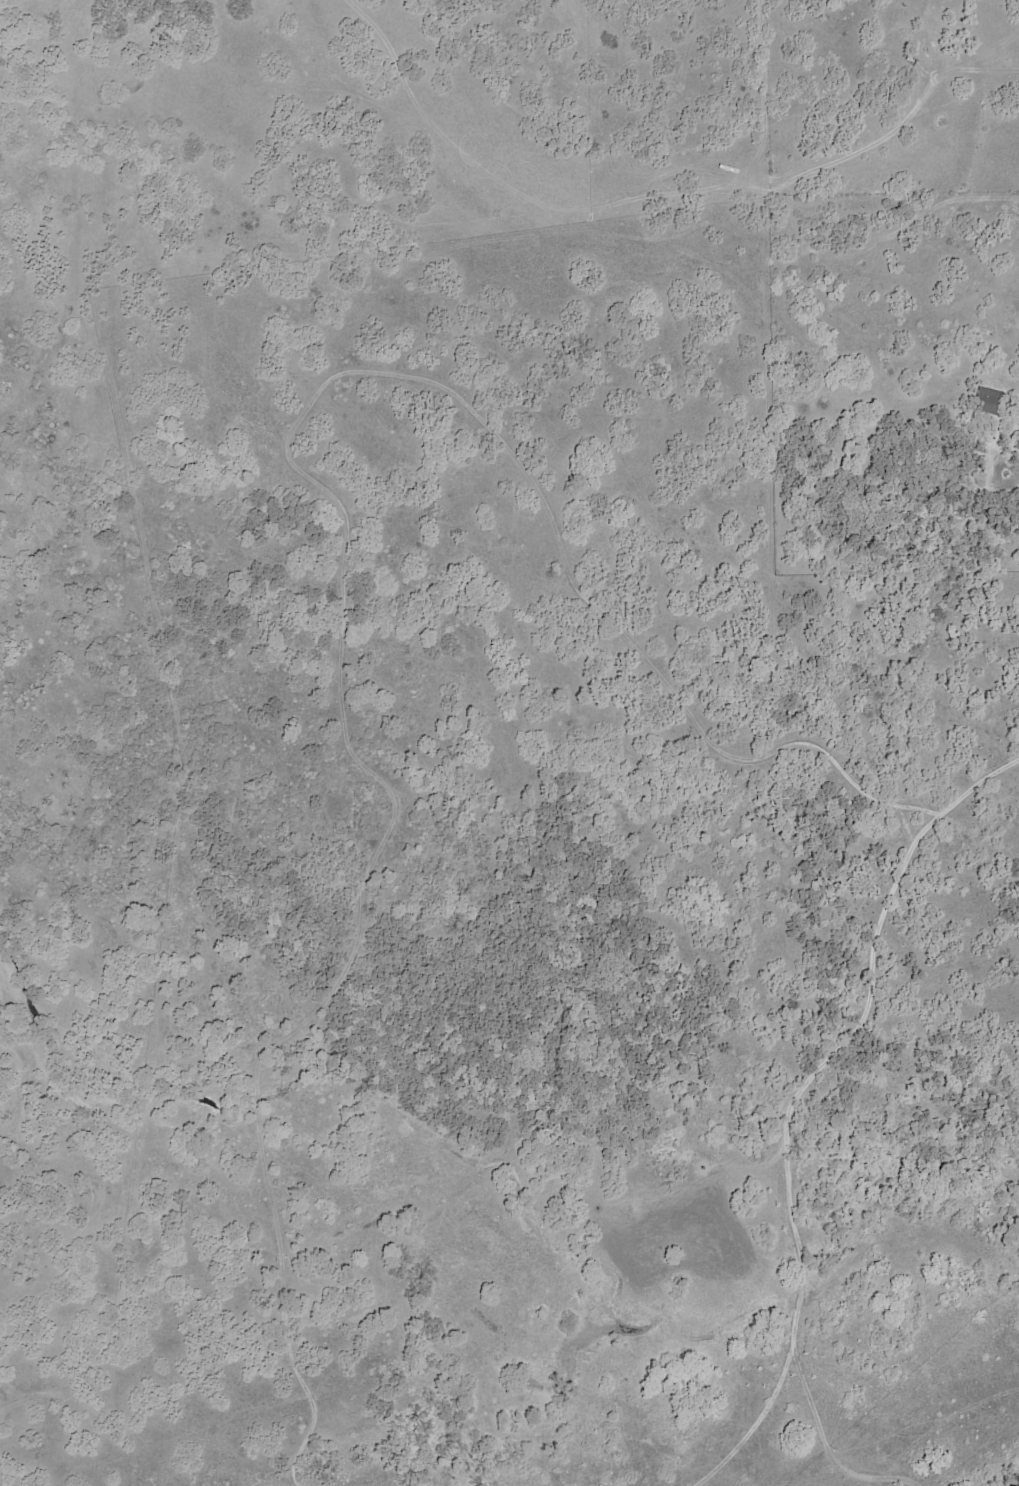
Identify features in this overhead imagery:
building: (987, 400)

